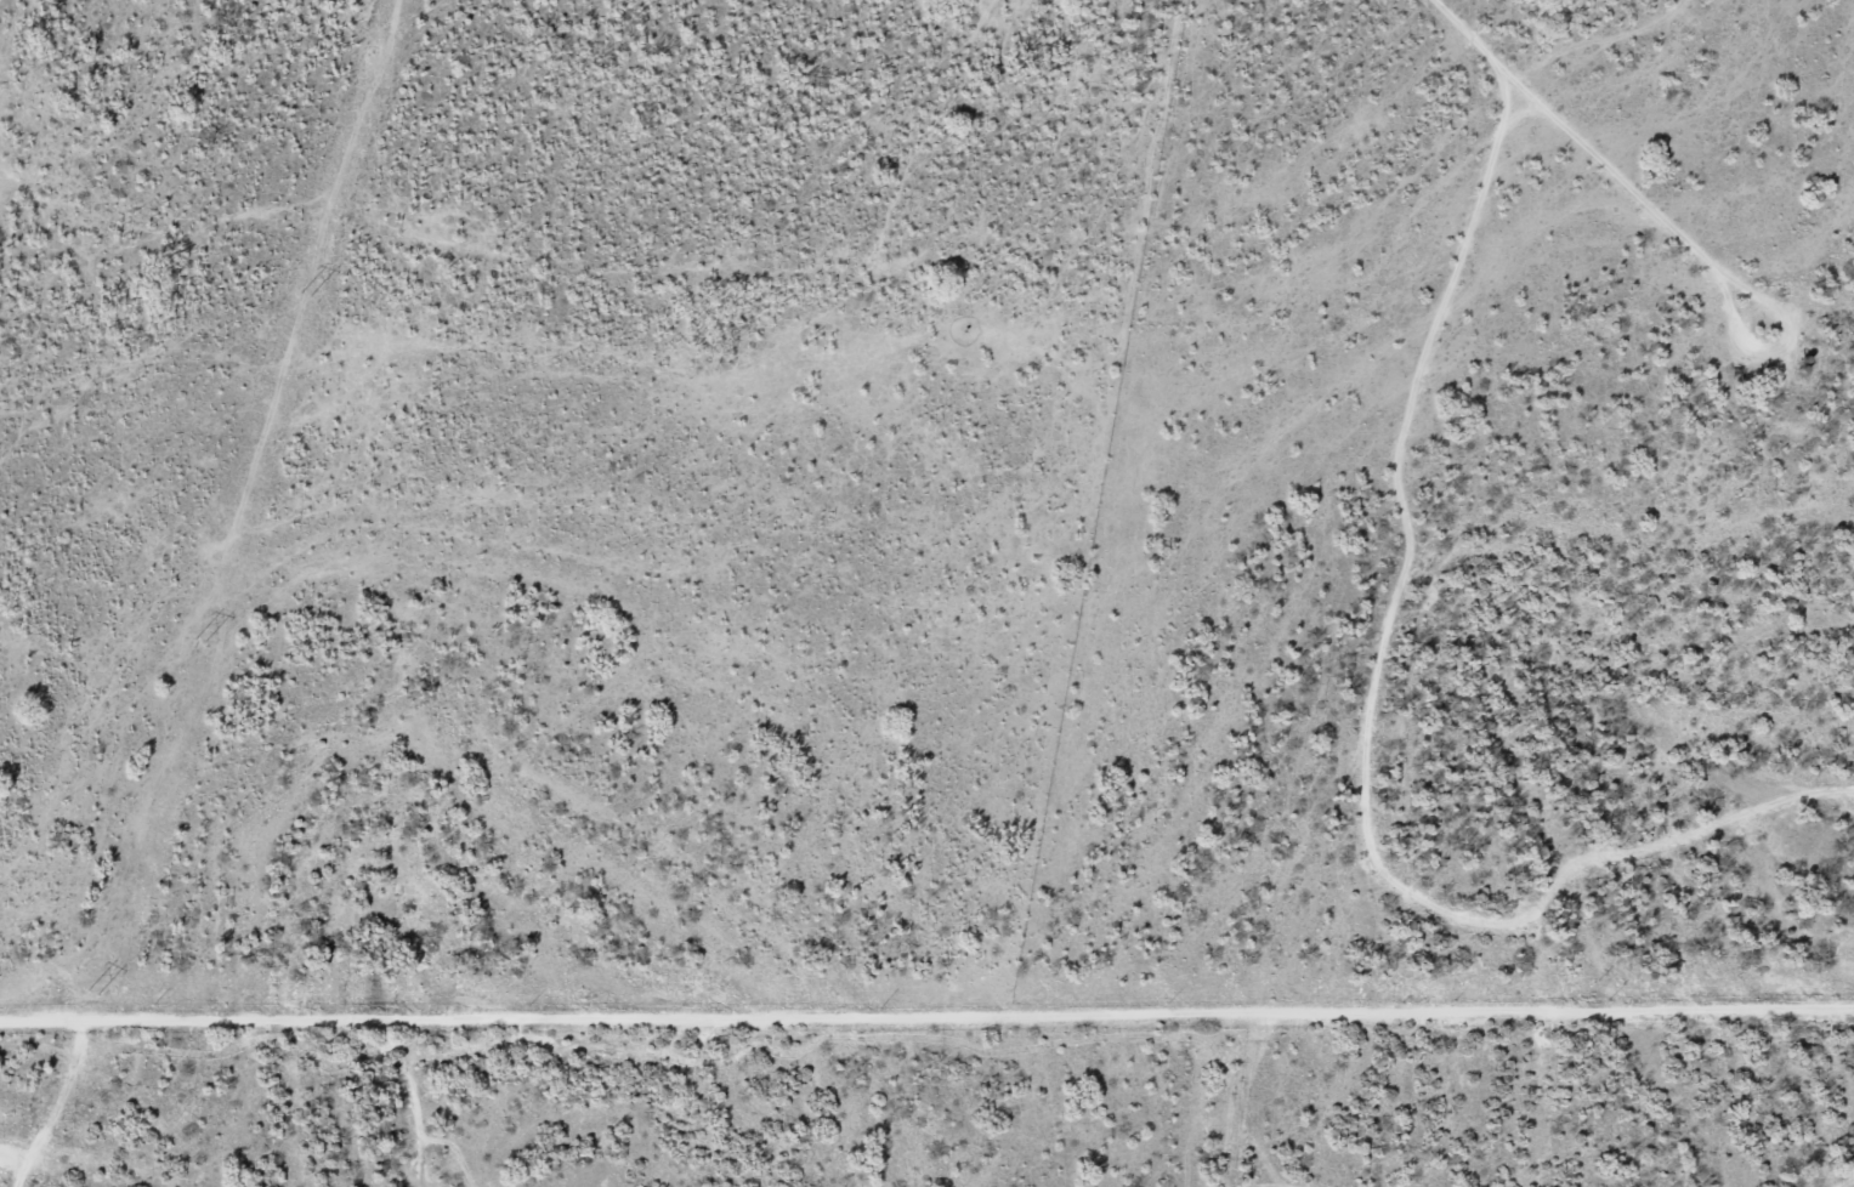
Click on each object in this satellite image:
road: (1552, 141)
power tower: (302, 291)
power tower: (198, 637)
road: (1359, 736)
road: (1801, 920)
power tower: (92, 989)
road: (926, 1004)
road: (1844, 1175)

